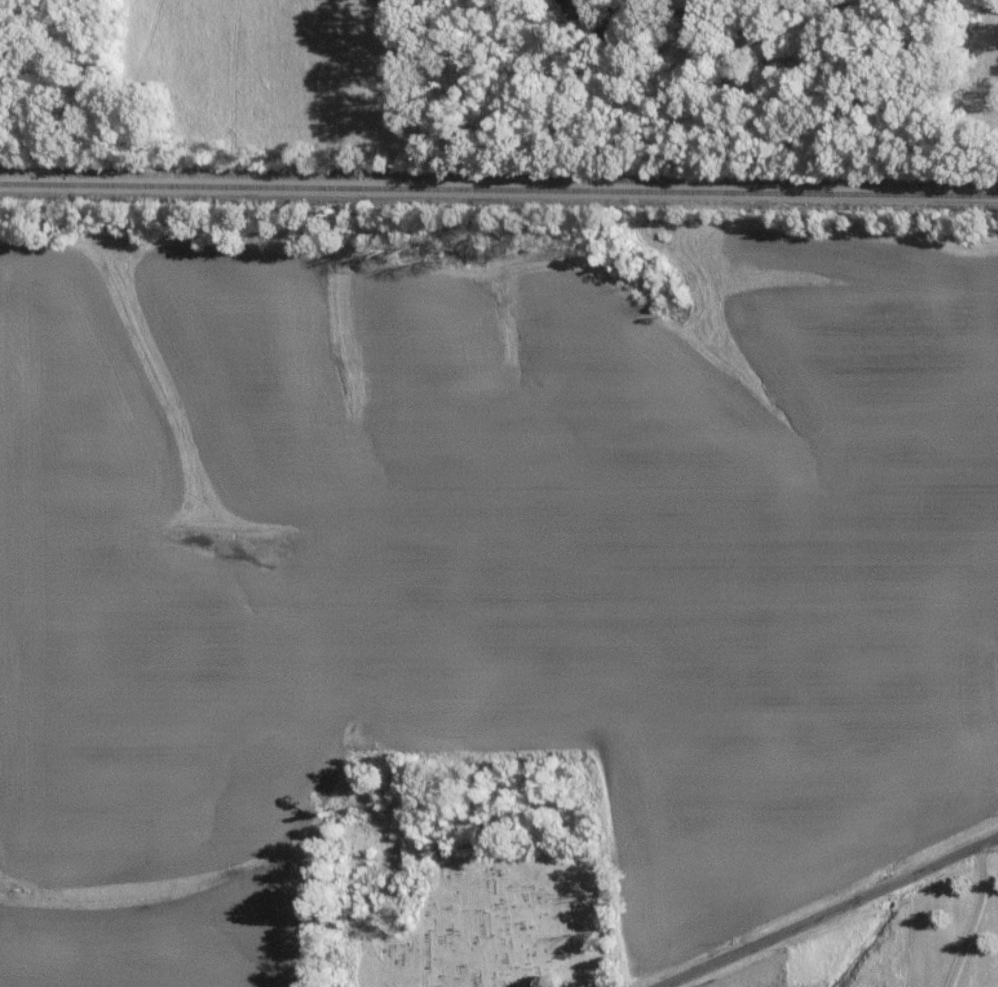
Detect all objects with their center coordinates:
railway: (498, 187)
road: (830, 910)
road: (973, 917)
park: (492, 929)

